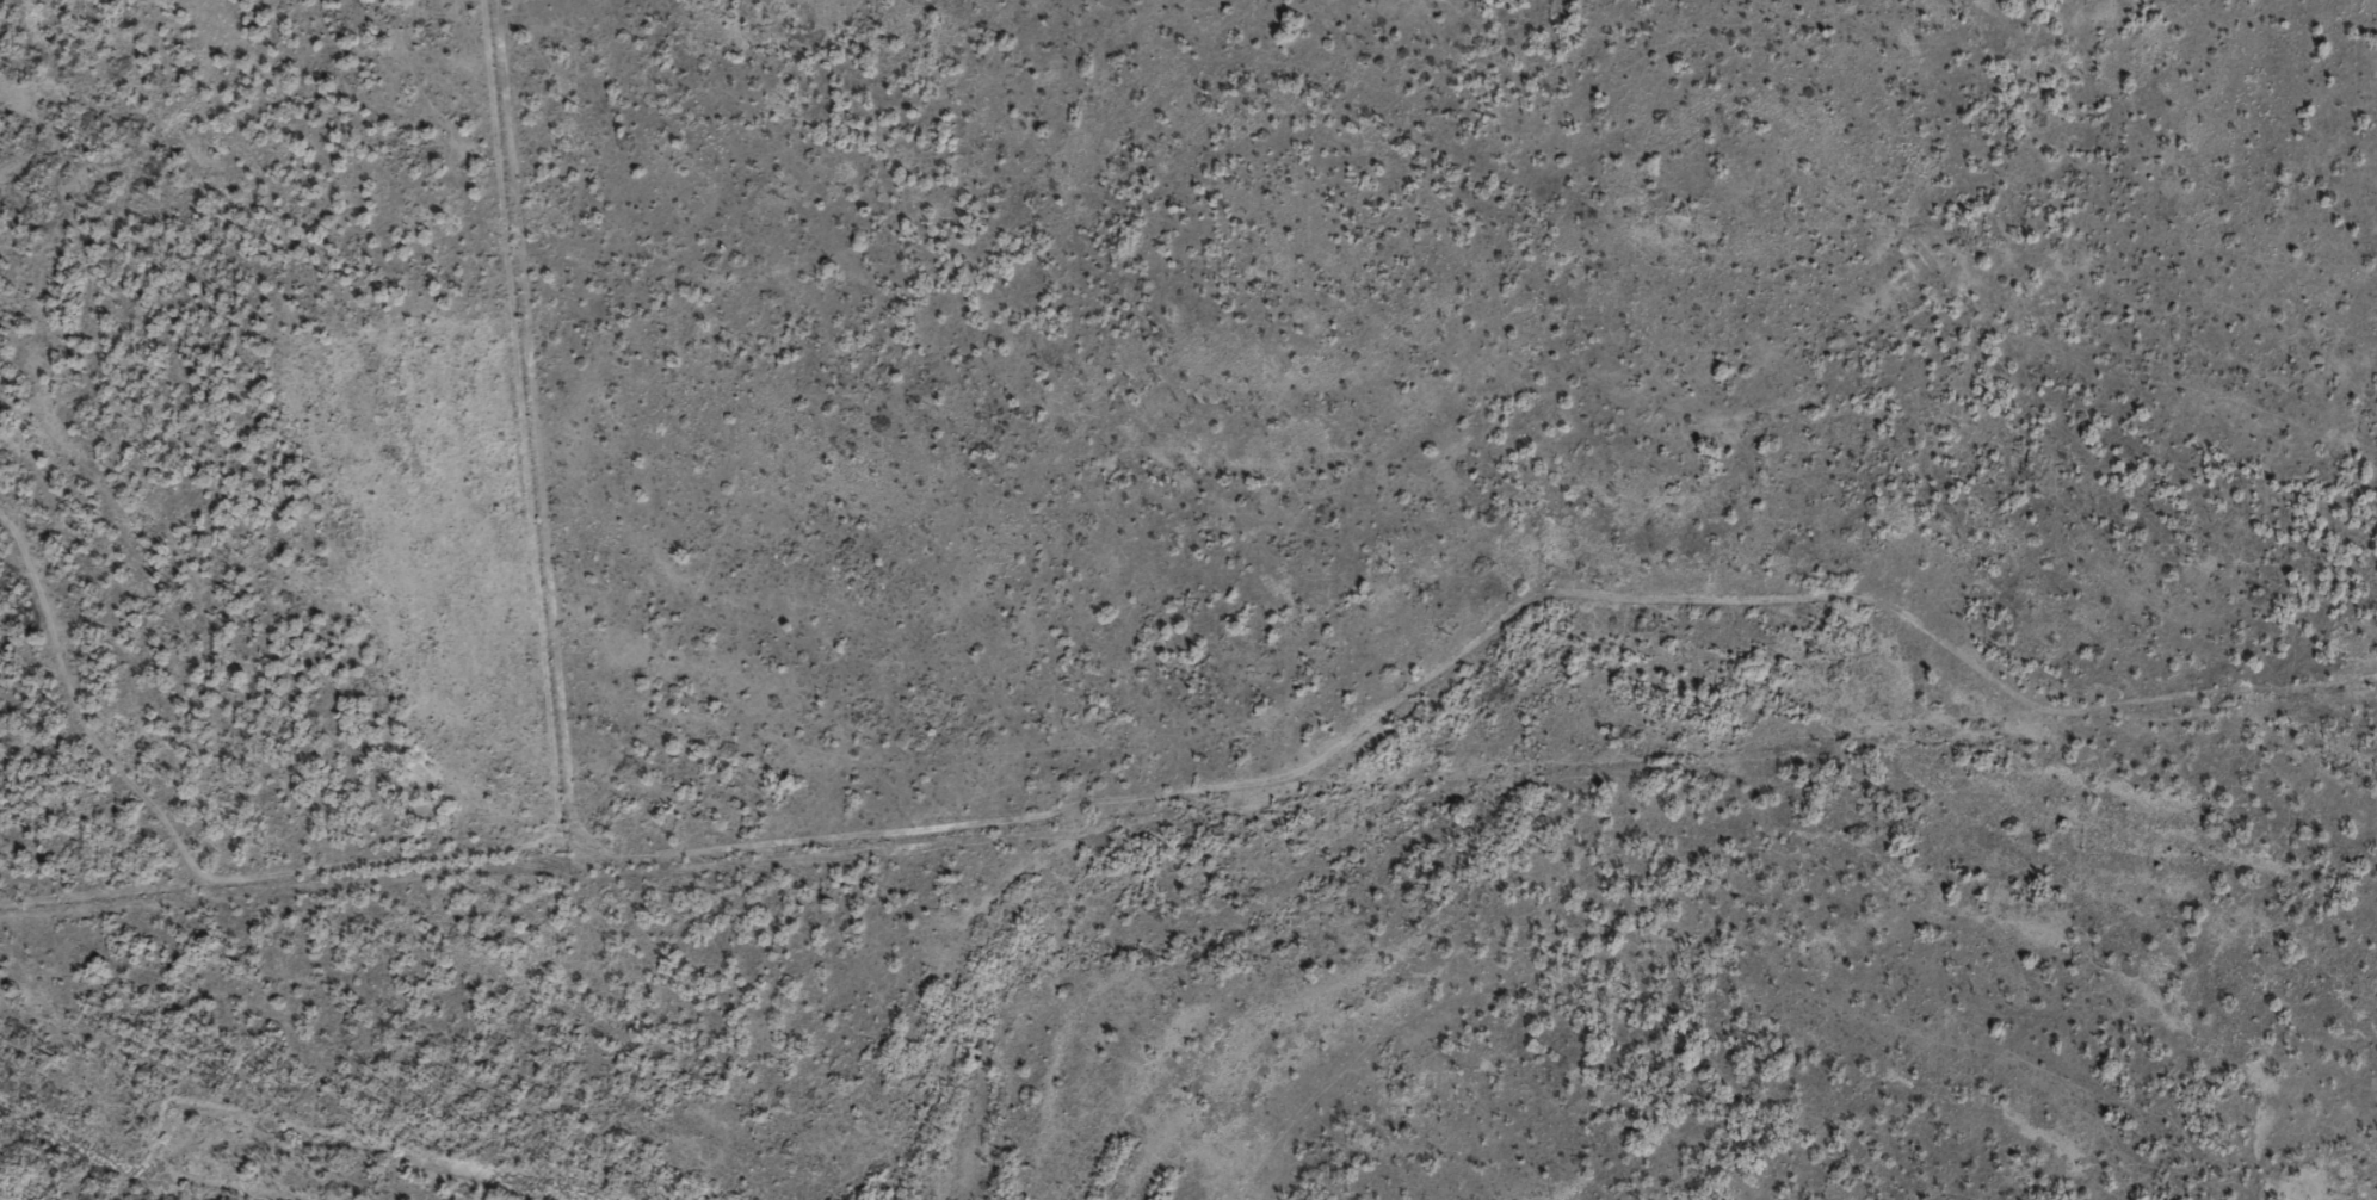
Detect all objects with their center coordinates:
road: (1980, 277)

